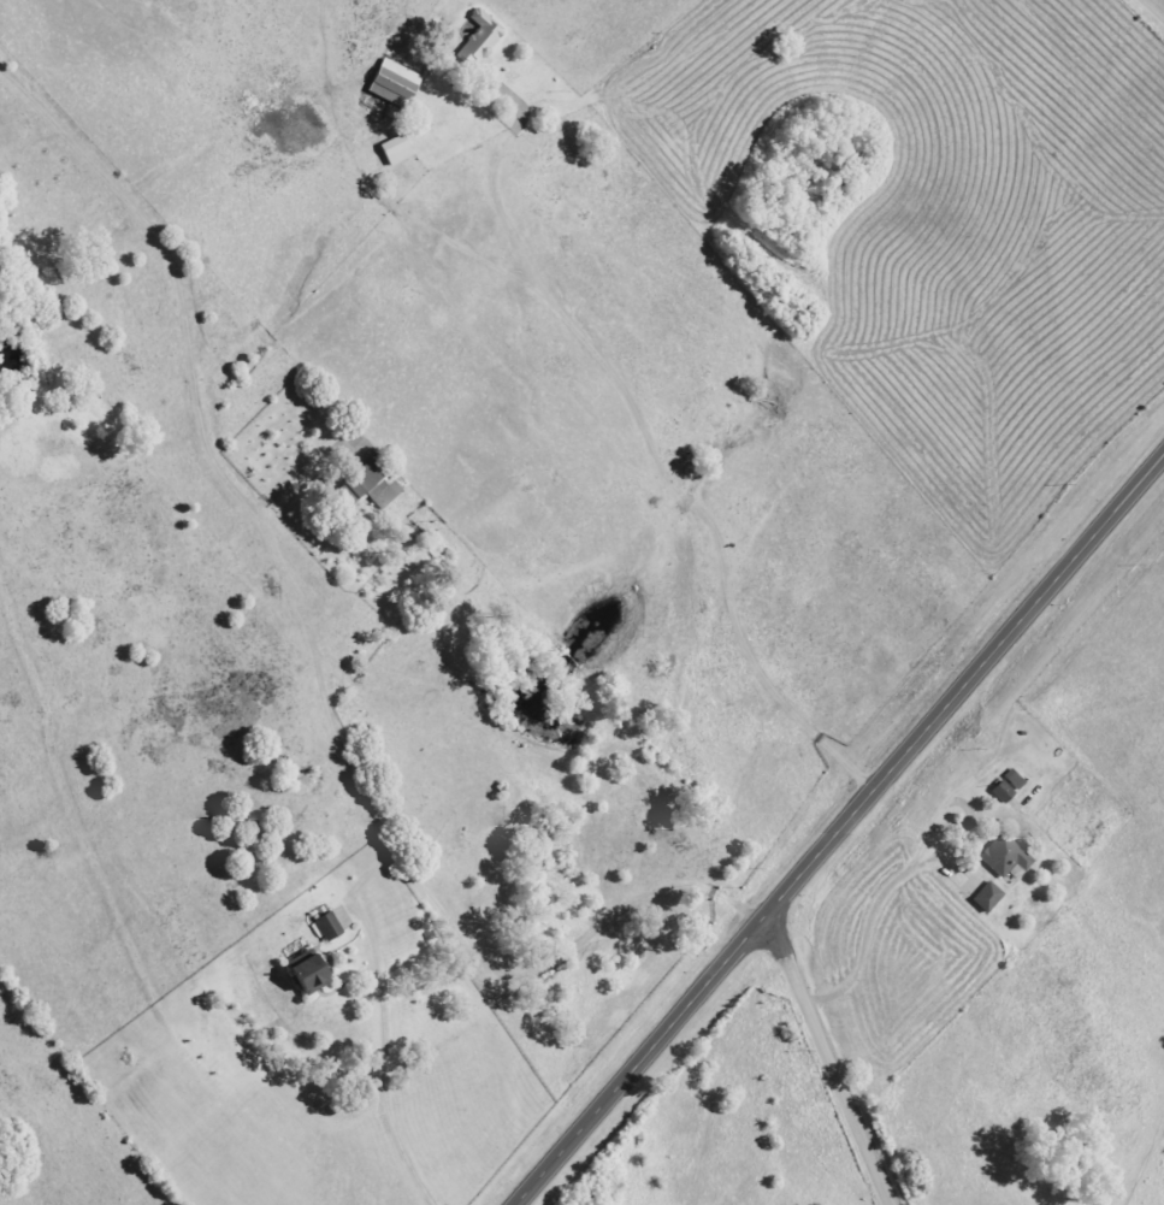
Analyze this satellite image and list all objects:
road: (1154, 8)
building: (479, 40)
building: (394, 84)
building: (395, 150)
road: (679, 477)
building: (372, 485)
road: (311, 640)
building: (1014, 781)
building: (1001, 792)
road: (843, 832)
building: (1004, 857)
building: (986, 898)
building: (307, 976)
road: (835, 1059)
road: (383, 1065)

